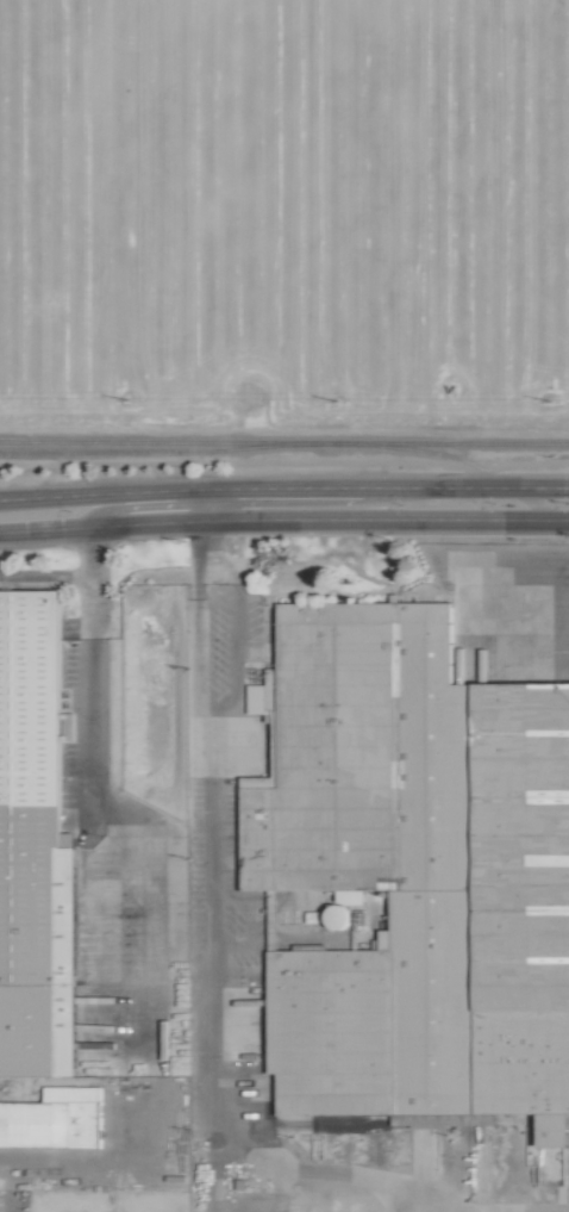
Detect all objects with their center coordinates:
crop: (284, 265)
railway: (284, 441)
railway: (160, 453)
railway: (468, 462)
road: (283, 487)
road: (283, 517)
road: (204, 545)
building: (31, 595)
building: (414, 872)
building: (337, 916)
road: (214, 1002)
building: (54, 1119)

